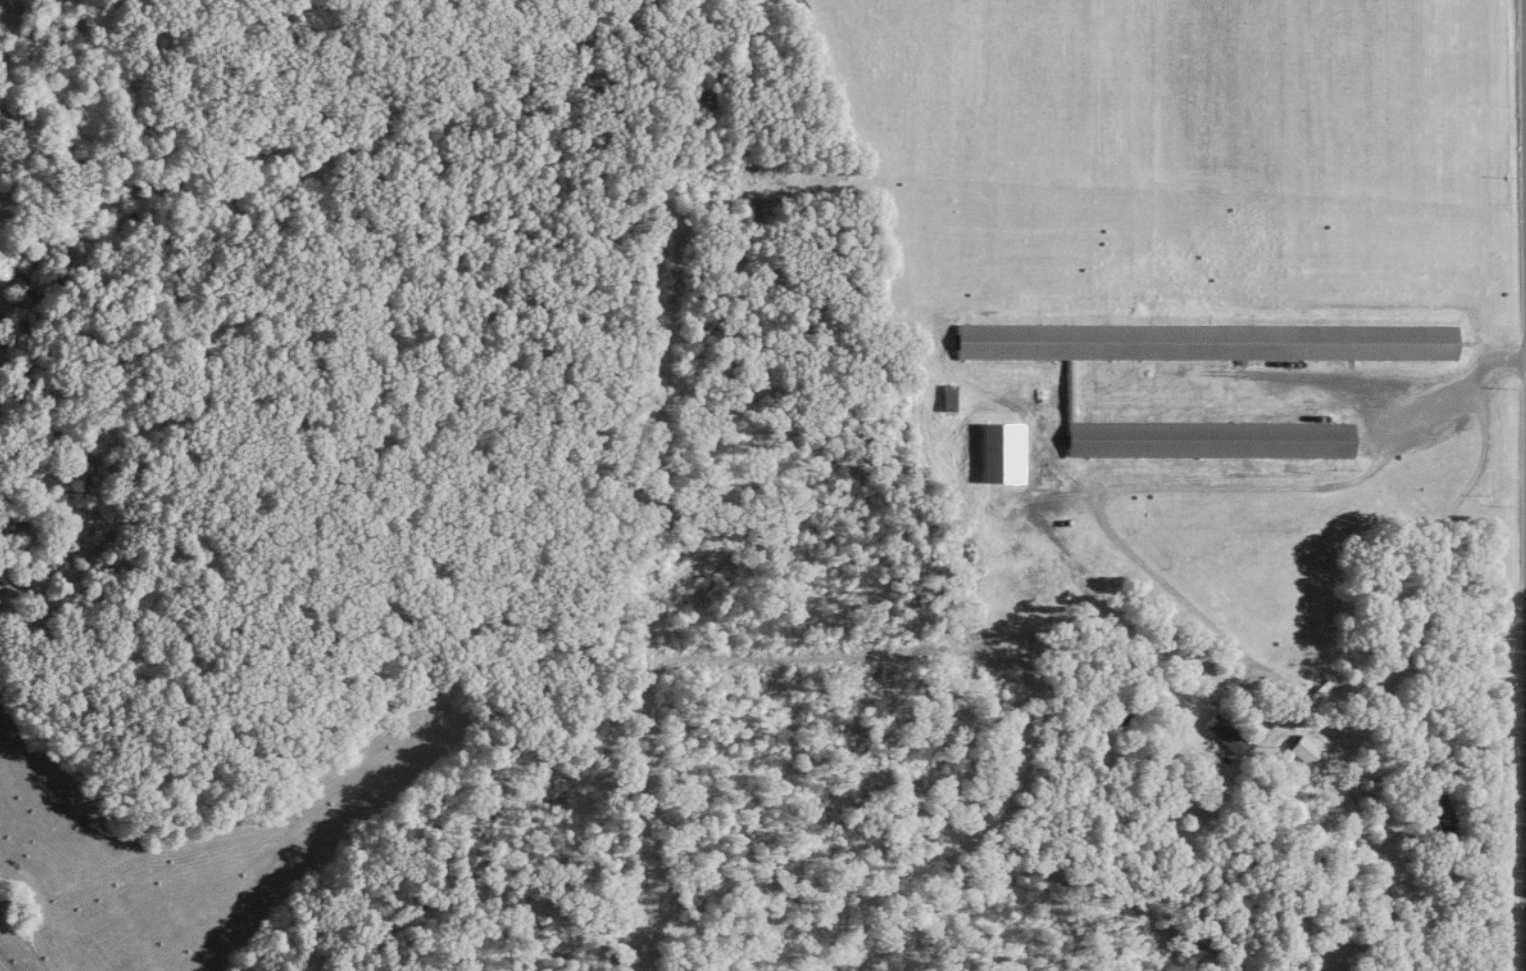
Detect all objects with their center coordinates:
building: (1205, 344)
road: (1492, 369)
building: (946, 399)
building: (1208, 441)
building: (999, 454)
road: (1438, 547)
building: (1223, 736)
building: (1302, 751)
building: (1439, 813)

